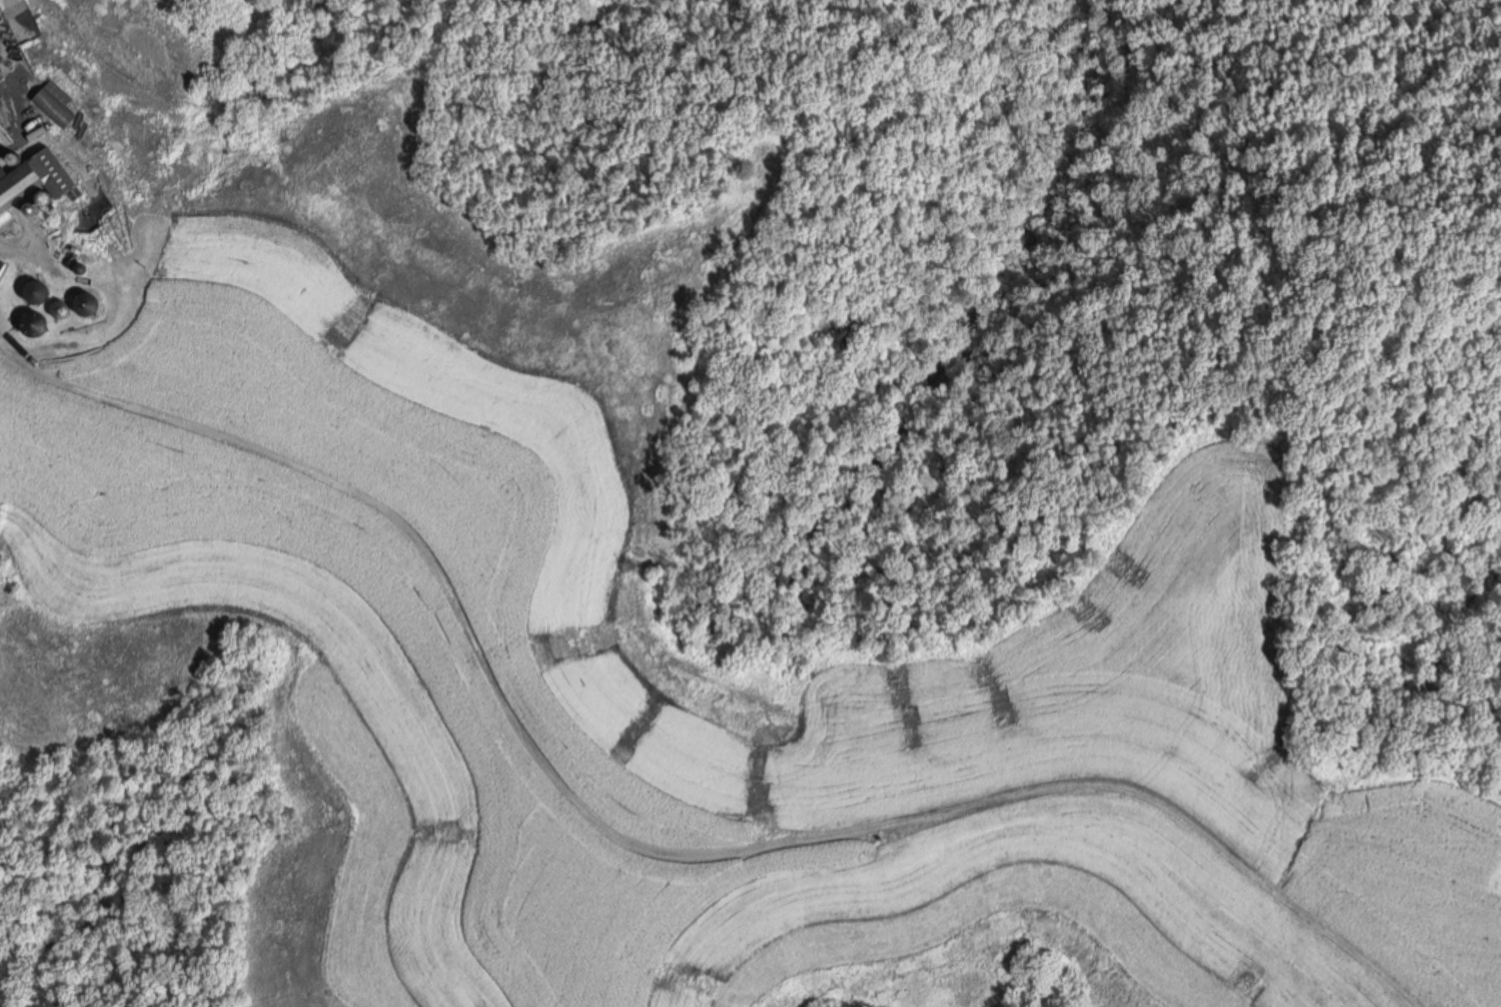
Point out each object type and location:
building: (0, 67)
building: (57, 103)
building: (33, 181)
building: (36, 290)

